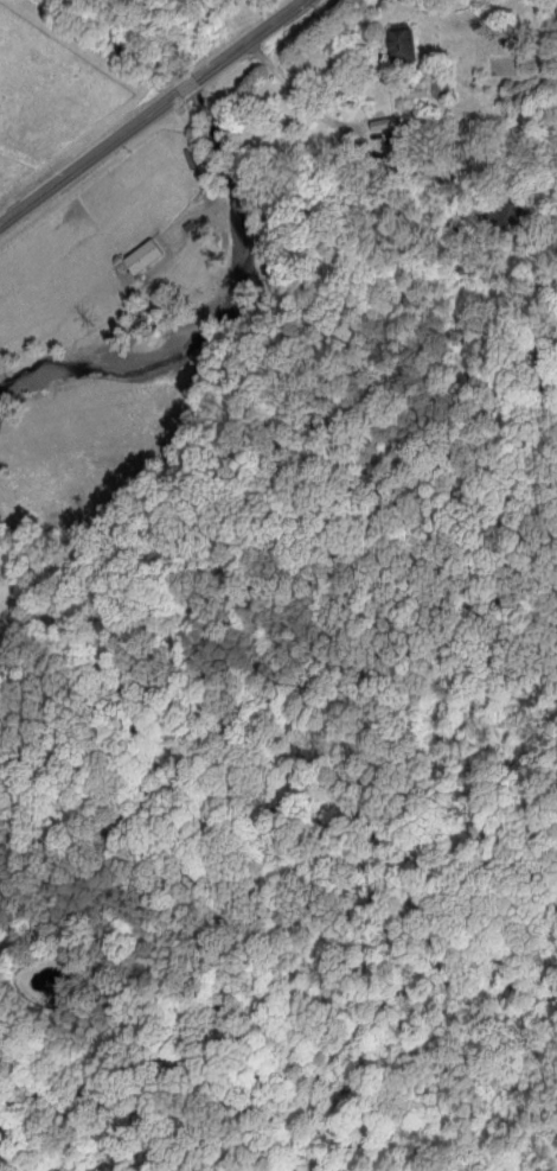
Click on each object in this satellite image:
building: (401, 43)
road: (306, 98)
road: (148, 106)
building: (142, 255)

